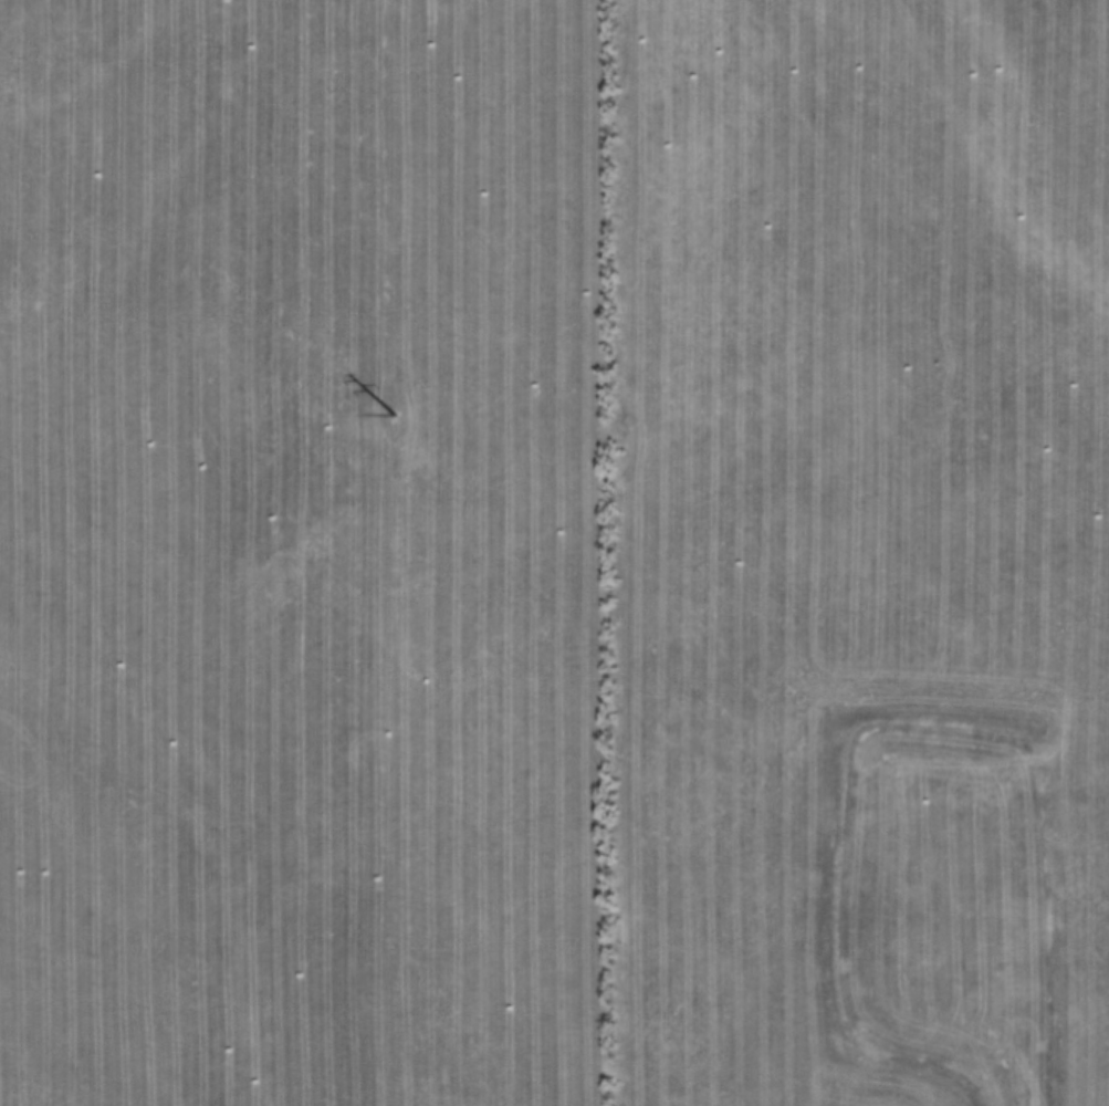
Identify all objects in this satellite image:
power tower: (407, 409)

